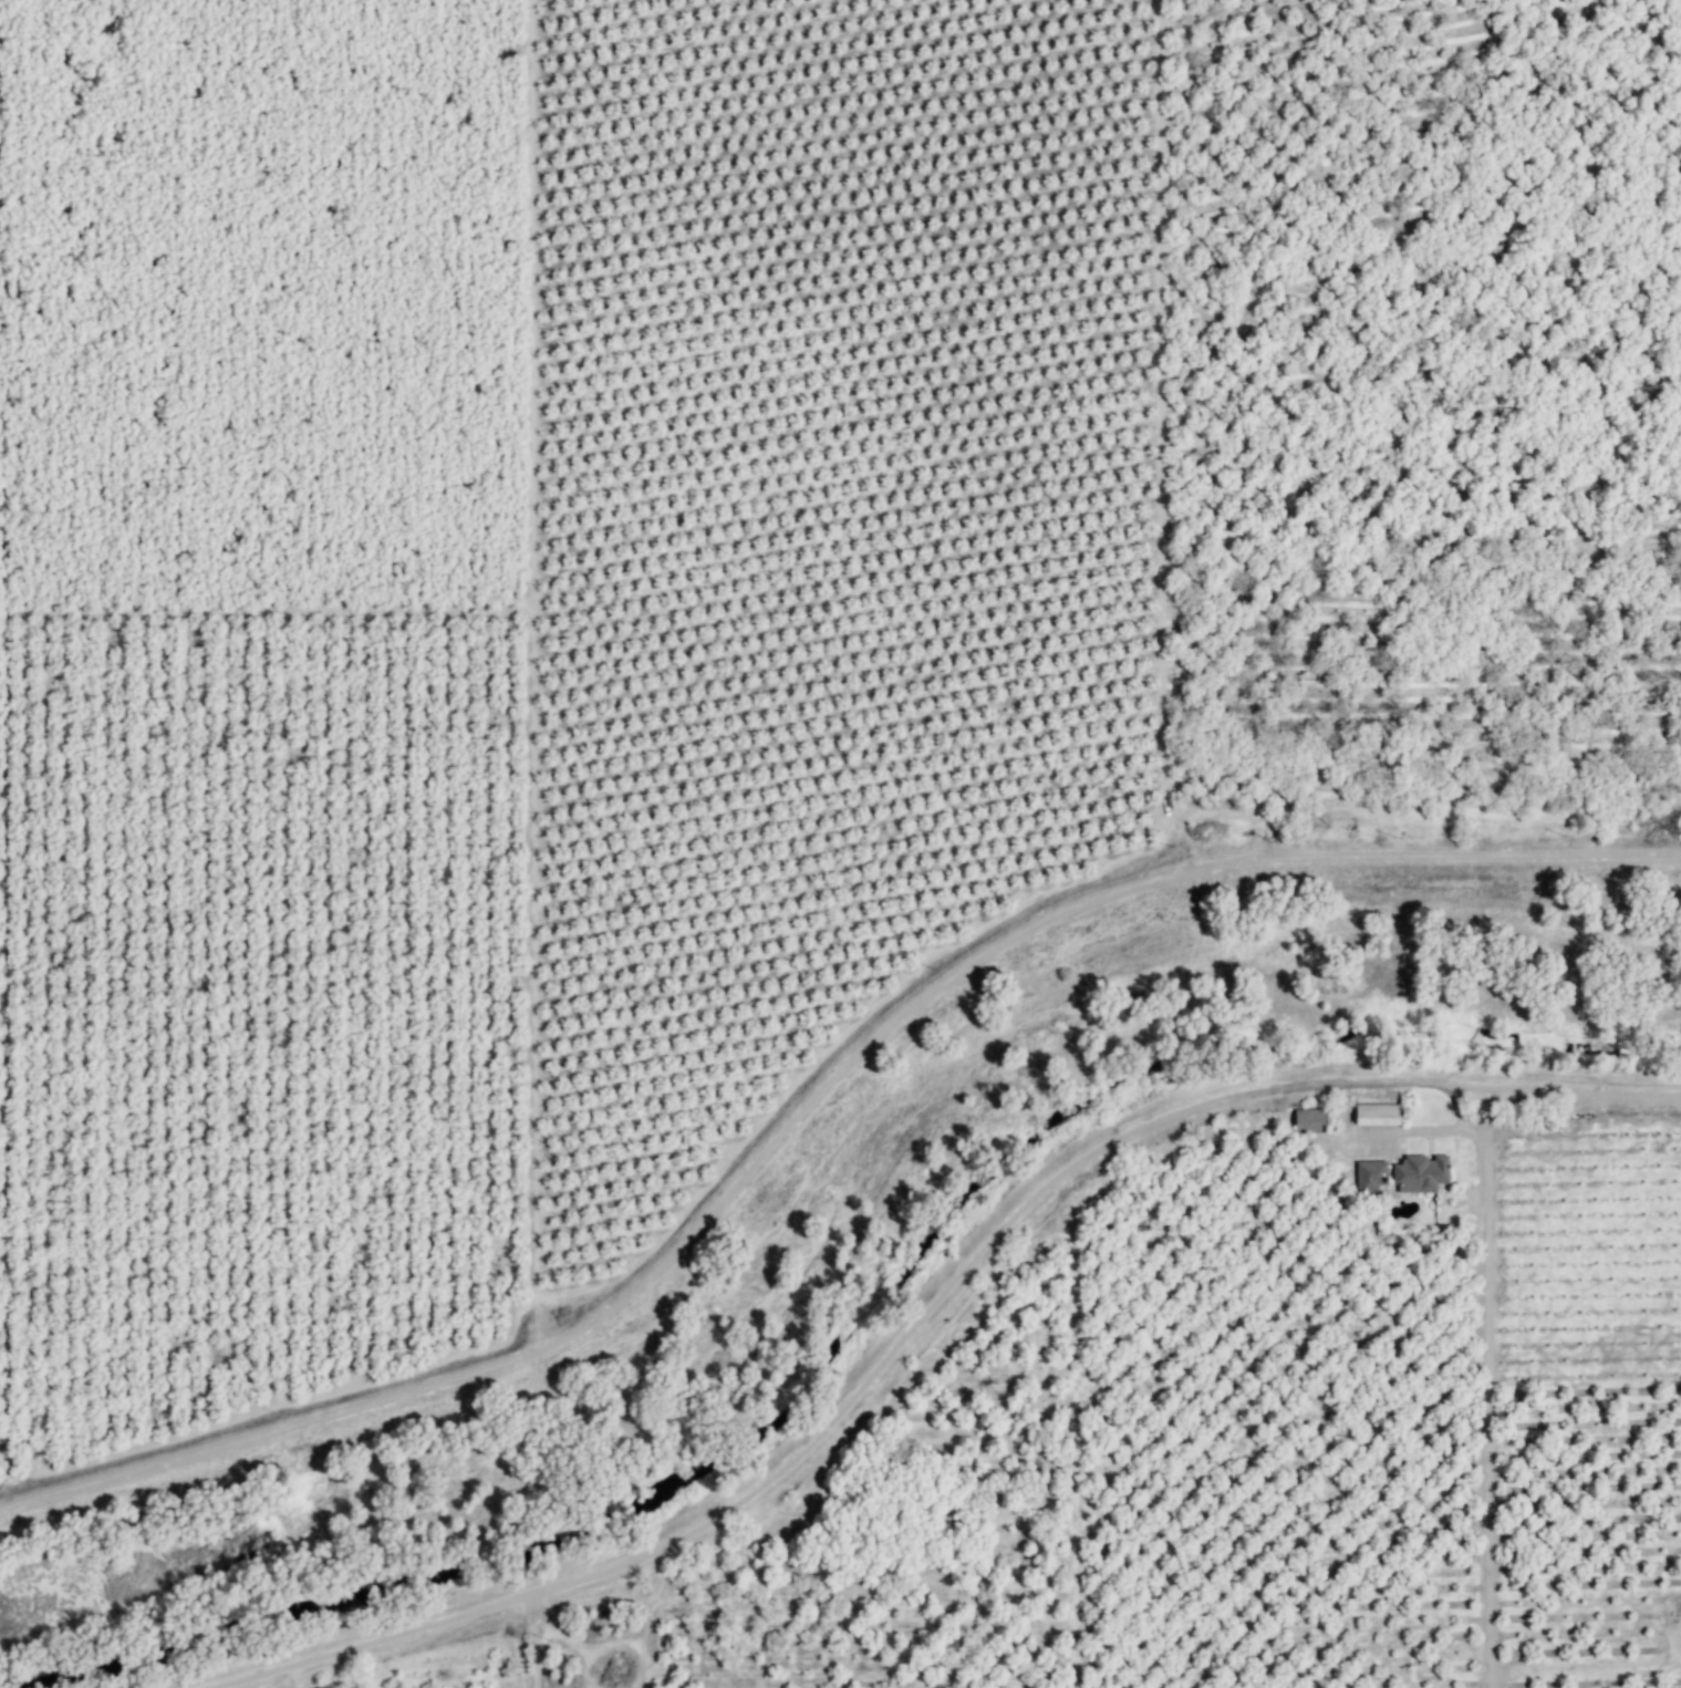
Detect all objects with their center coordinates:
road: (535, 325)
road: (1446, 1076)
road: (814, 1100)
building: (1379, 1115)
building: (1309, 1120)
road: (824, 1162)
building: (1422, 1173)
building: (1372, 1176)
road: (931, 1311)
road: (1493, 1329)
road: (631, 1599)
road: (590, 1637)
road: (541, 1639)

